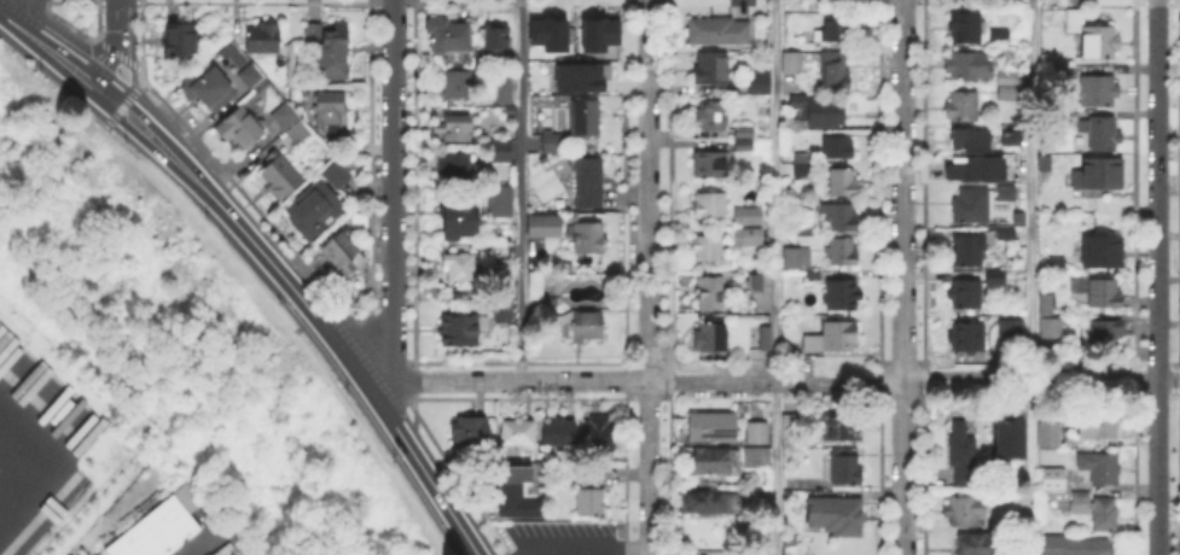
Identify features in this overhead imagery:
road: (97, 0)
road: (130, 0)
road: (114, 1)
road: (135, 1)
road: (41, 2)
road: (7, 4)
road: (24, 12)
park: (79, 14)
road: (114, 18)
road: (59, 21)
building: (1075, 21)
building: (966, 28)
building: (832, 29)
building: (546, 33)
building: (572, 33)
building: (717, 33)
building: (598, 35)
building: (447, 36)
building: (1000, 39)
building: (180, 40)
building: (262, 40)
road: (48, 41)
road: (63, 41)
building: (494, 43)
building: (1100, 43)
road: (130, 46)
building: (332, 51)
road: (116, 53)
building: (229, 54)
road: (105, 57)
road: (98, 65)
building: (969, 66)
road: (54, 68)
building: (835, 69)
building: (710, 70)
building: (1068, 74)
building: (251, 76)
building: (576, 76)
building: (1006, 78)
building: (758, 83)
building: (455, 86)
building: (502, 87)
road: (95, 88)
building: (209, 89)
building: (1099, 92)
building: (1006, 94)
road: (122, 101)
road: (130, 106)
building: (963, 107)
building: (329, 110)
building: (820, 112)
road: (98, 113)
building: (710, 115)
building: (586, 119)
building: (291, 124)
building: (242, 128)
building: (455, 129)
road: (134, 132)
building: (745, 132)
building: (1100, 133)
building: (969, 140)
building: (1013, 140)
building: (552, 145)
building: (744, 146)
building: (837, 148)
building: (501, 152)
building: (1045, 164)
building: (455, 165)
building: (709, 166)
building: (803, 166)
building: (971, 166)
road: (223, 173)
building: (337, 174)
building: (1098, 175)
building: (278, 177)
building: (589, 183)
building: (843, 183)
road: (222, 188)
road: (522, 191)
road: (393, 192)
building: (1006, 194)
building: (500, 201)
building: (709, 204)
building: (970, 206)
building: (313, 208)
building: (749, 217)
building: (1016, 217)
building: (841, 218)
building: (359, 221)
building: (459, 223)
building: (545, 227)
building: (803, 229)
building: (1006, 233)
building: (589, 235)
building: (745, 238)
building: (708, 247)
building: (1046, 249)
building: (341, 250)
building: (499, 250)
building: (969, 251)
building: (842, 252)
building: (1104, 252)
building: (797, 261)
building: (461, 270)
road: (647, 277)
road: (775, 277)
road: (903, 277)
road: (1031, 277)
road: (1158, 277)
building: (760, 284)
building: (535, 286)
building: (973, 290)
building: (709, 292)
building: (1104, 293)
building: (839, 296)
road: (390, 303)
building: (1042, 303)
building: (545, 304)
building: (1050, 304)
building: (502, 314)
building: (581, 325)
road: (371, 328)
road: (413, 328)
building: (460, 329)
building: (1051, 329)
building: (1012, 333)
building: (1103, 334)
building: (763, 337)
road: (332, 338)
building: (708, 338)
building: (971, 338)
building: (833, 339)
park: (165, 344)
road: (374, 355)
road: (365, 362)
road: (504, 380)
road: (412, 381)
road: (903, 381)
road: (1169, 382)
road: (412, 419)
building: (1098, 426)
building: (713, 428)
building: (839, 430)
building: (791, 431)
building: (470, 432)
building: (518, 433)
building: (559, 433)
building: (757, 433)
building: (597, 434)
building: (1006, 437)
building: (1050, 437)
building: (961, 456)
road: (46, 457)
building: (757, 458)
building: (714, 461)
building: (1100, 468)
building: (845, 471)
road: (457, 479)
building: (1053, 481)
road: (448, 485)
building: (511, 490)
building: (588, 497)
building: (710, 504)
building: (1080, 504)
building: (963, 512)
building: (837, 515)
building: (1105, 515)
building: (162, 528)
building: (802, 543)
building: (976, 545)
building: (1074, 547)
road: (580, 548)
road: (502, 553)
building: (755, 554)

